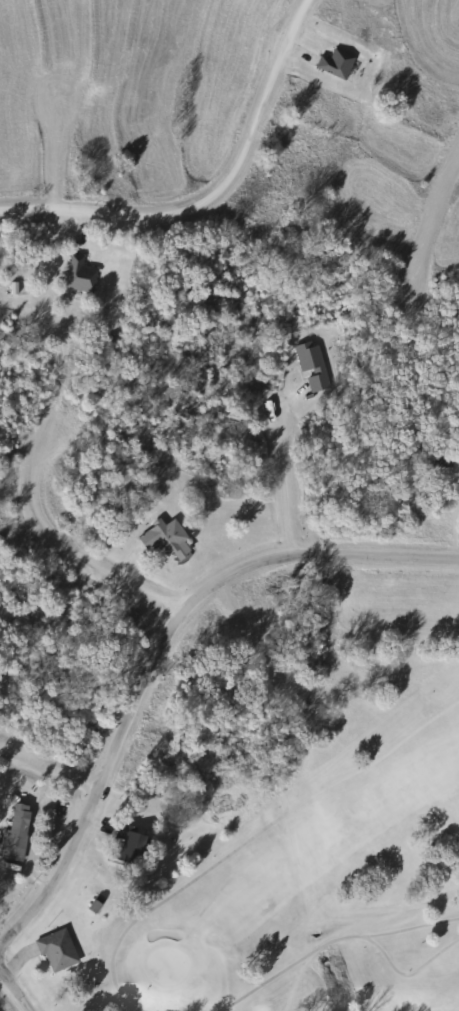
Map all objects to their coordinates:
building: (334, 64)
road: (59, 141)
road: (211, 192)
road: (436, 198)
road: (415, 263)
building: (78, 275)
building: (311, 366)
road: (285, 484)
building: (163, 538)
road: (153, 589)
road: (244, 651)
road: (160, 652)
road: (43, 809)
building: (14, 833)
building: (126, 845)
building: (55, 950)
road: (18, 986)

